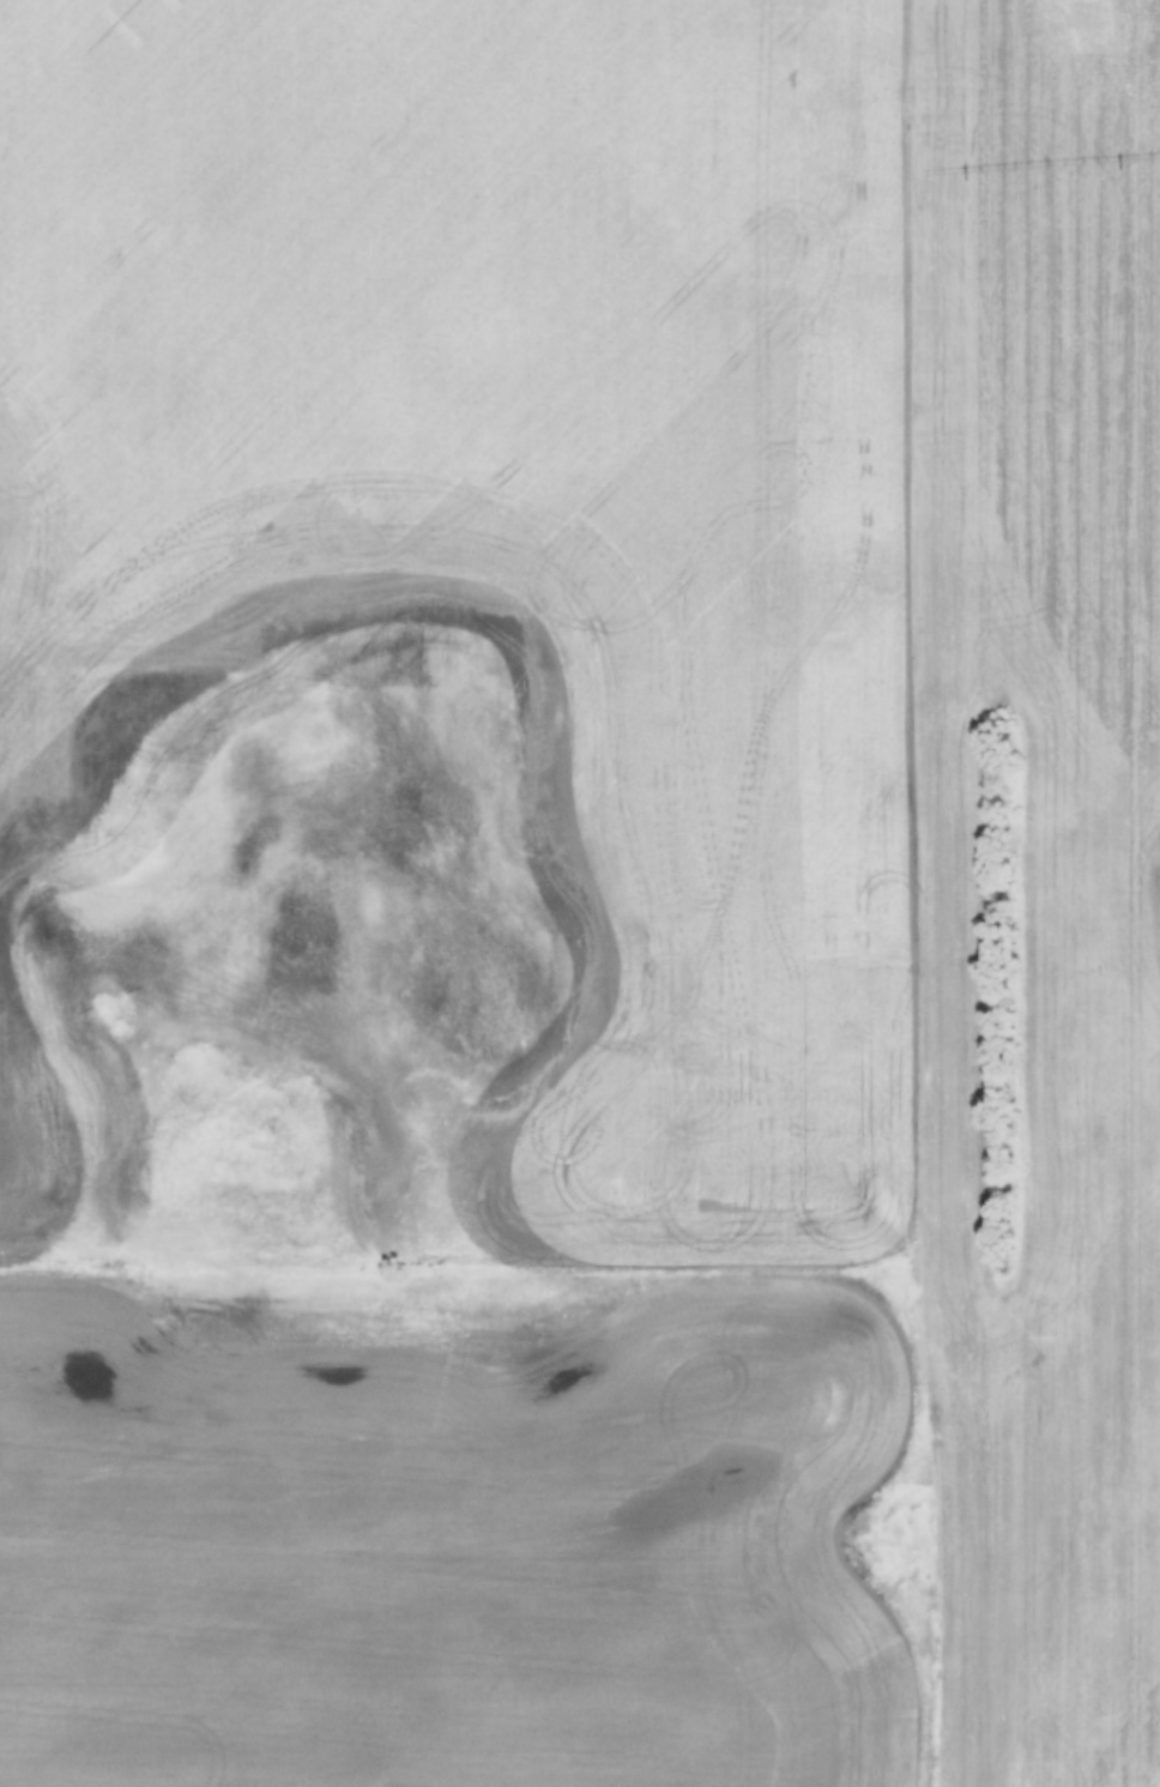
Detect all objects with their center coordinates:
road: (914, 632)
road: (455, 1269)

